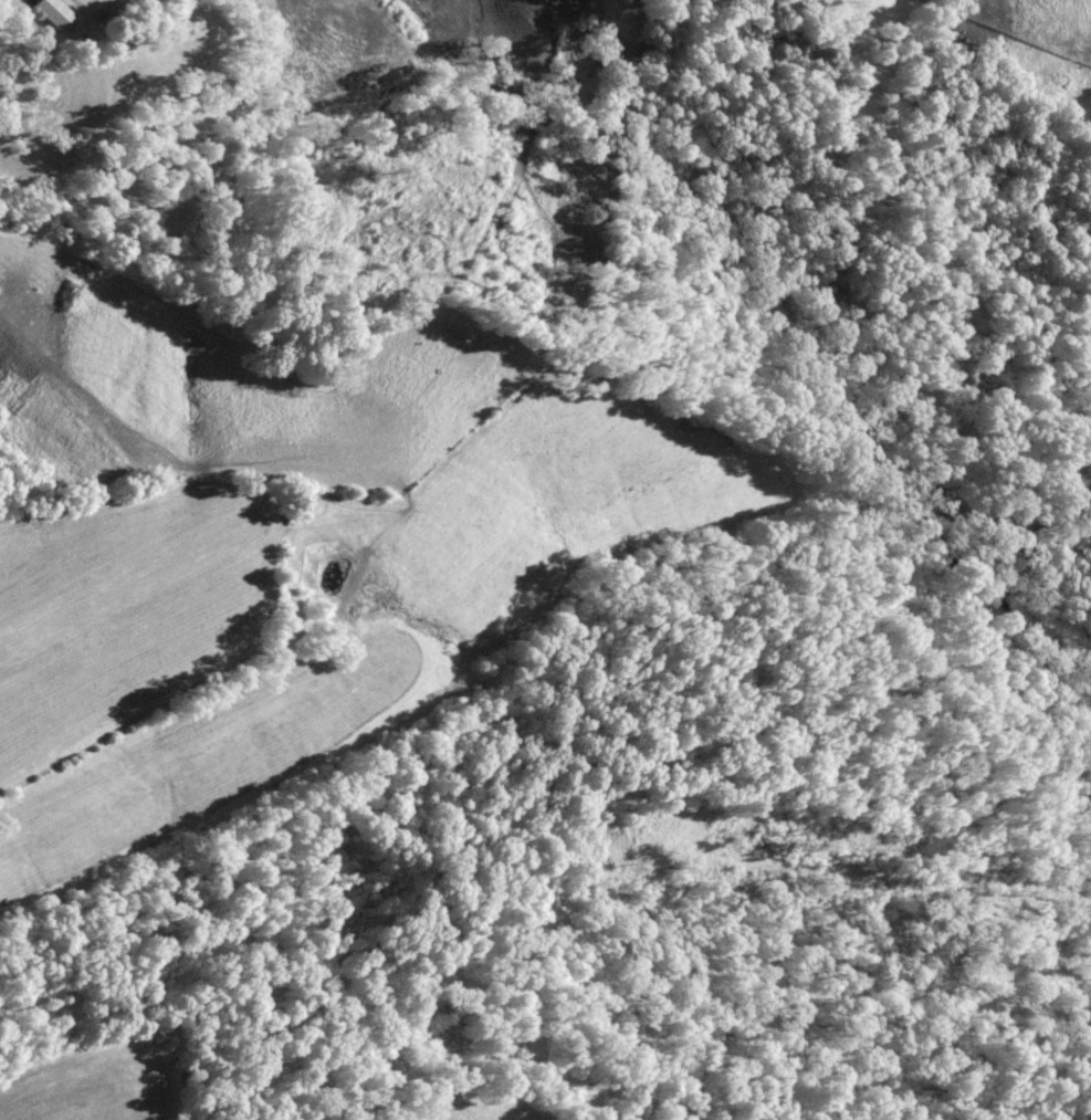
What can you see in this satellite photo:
building: (55, 12)

